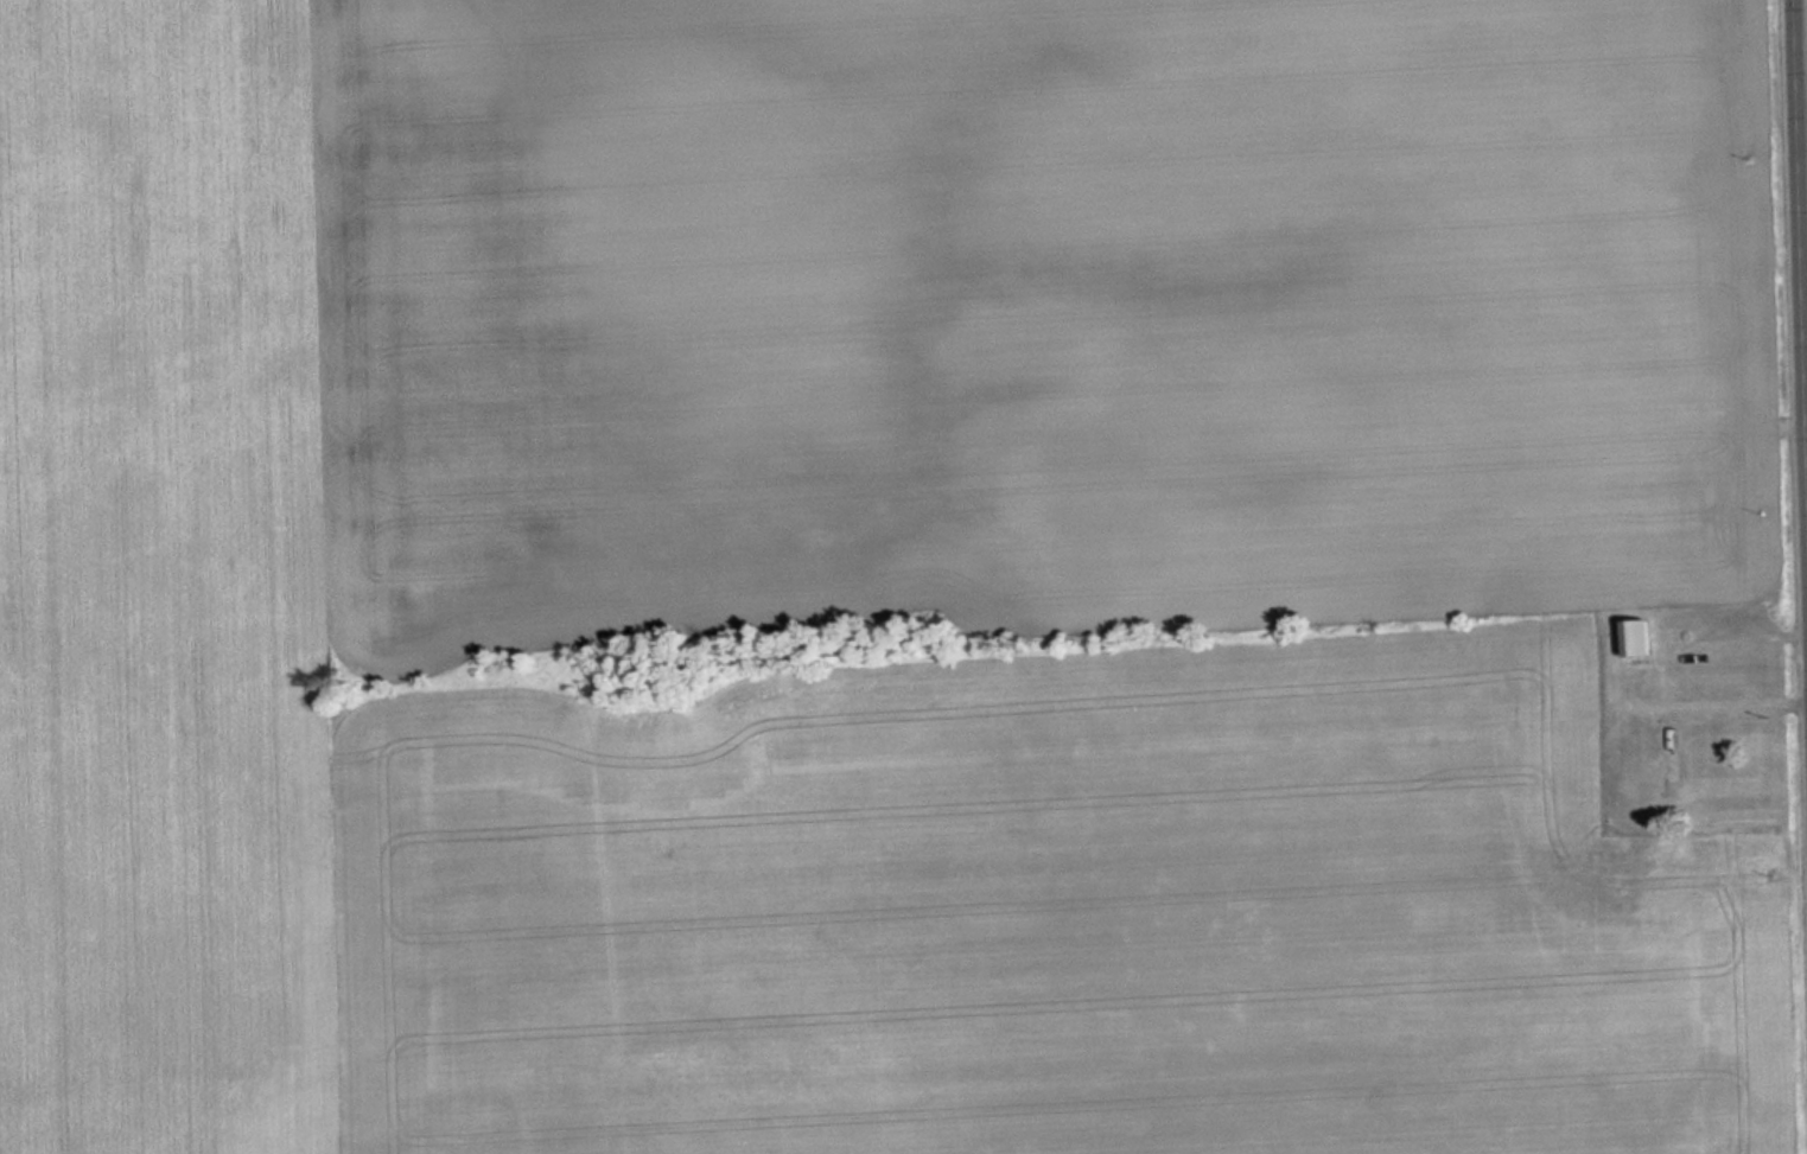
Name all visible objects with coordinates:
road: (1806, 39)

